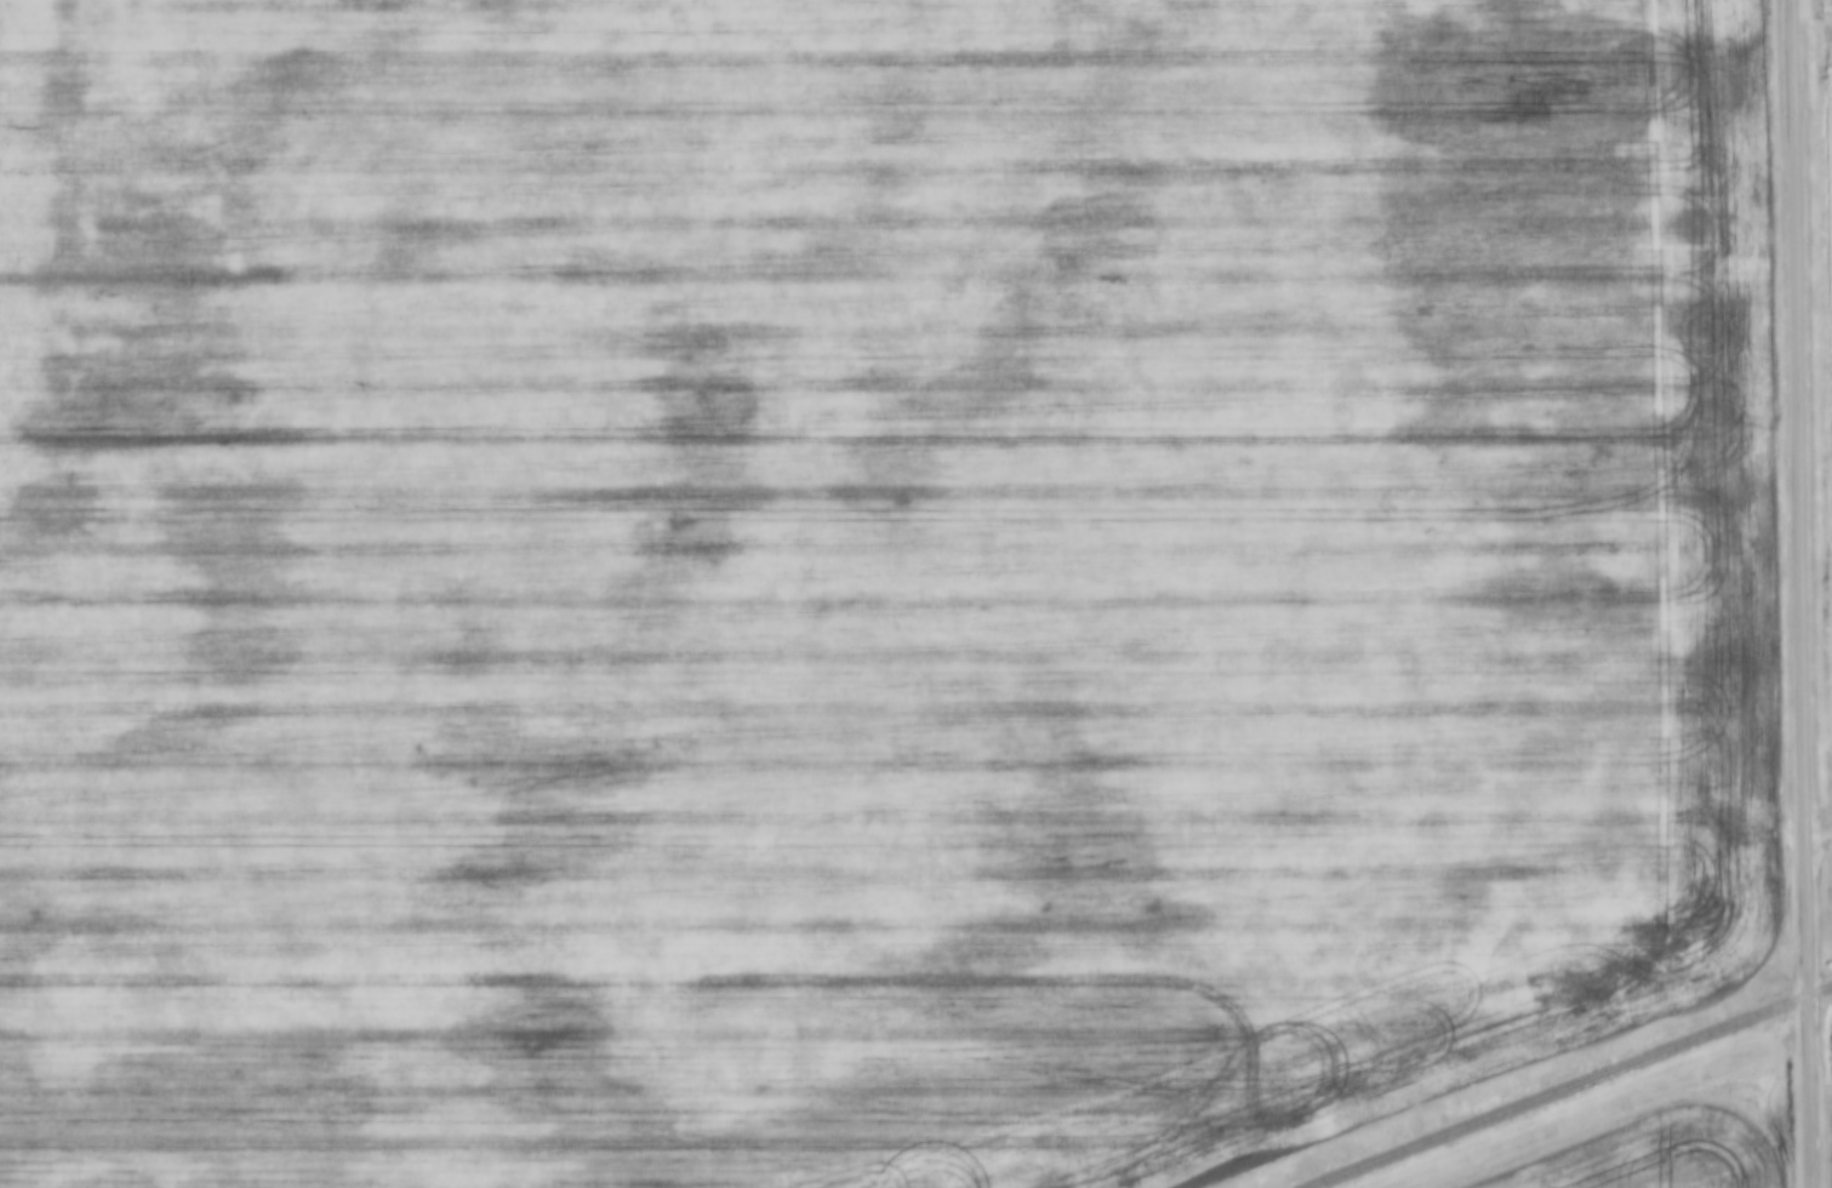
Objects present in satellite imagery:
road: (1799, 594)
railway: (1571, 1087)

